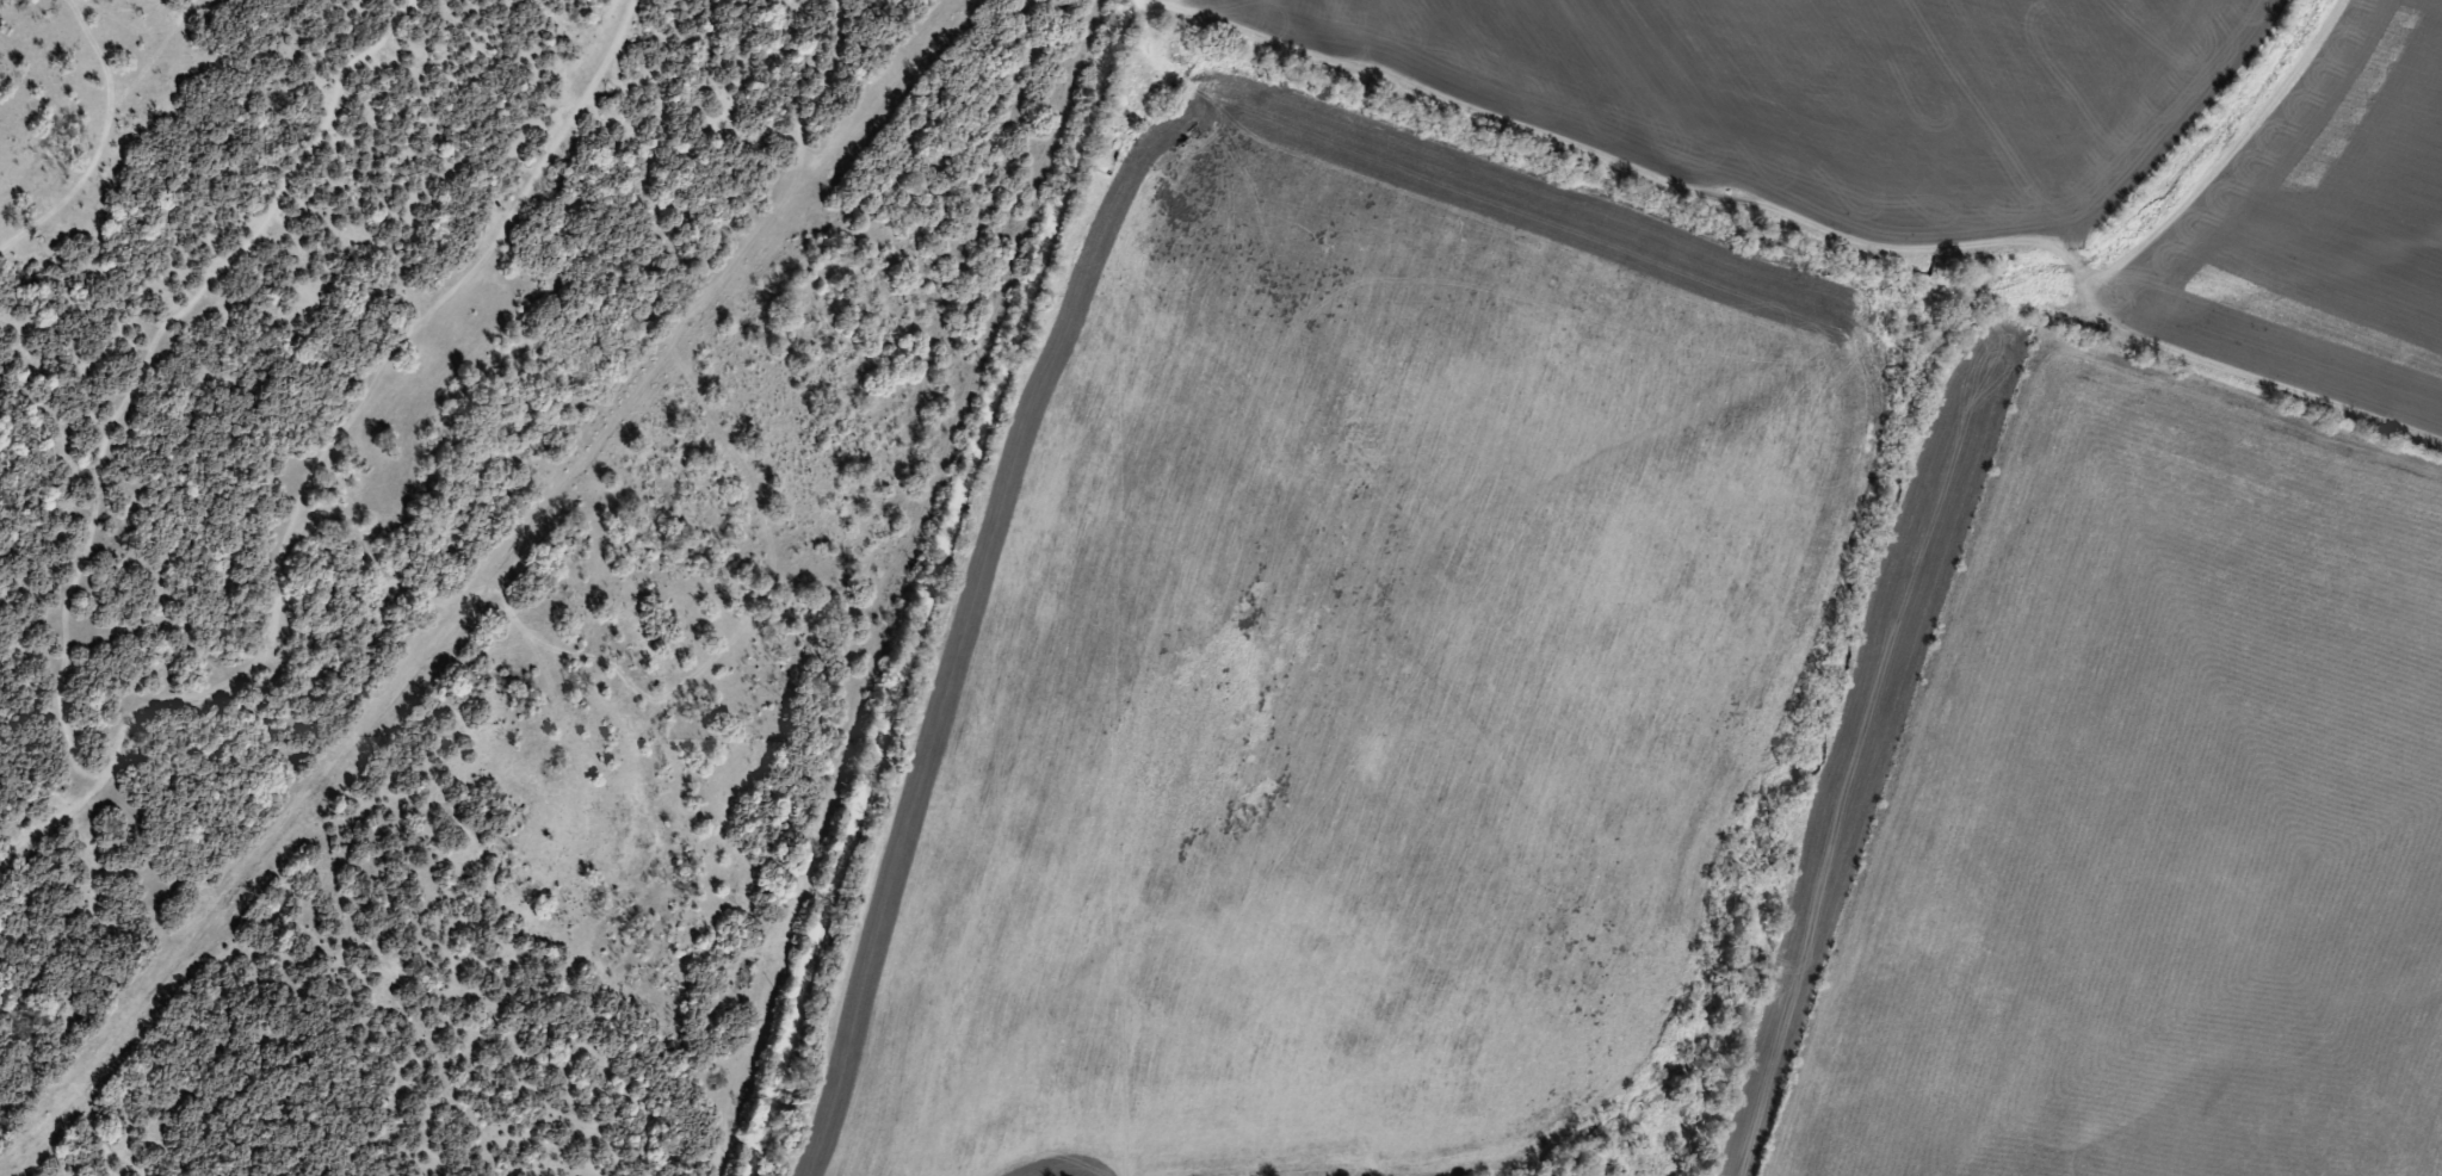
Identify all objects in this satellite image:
road: (944, 588)

